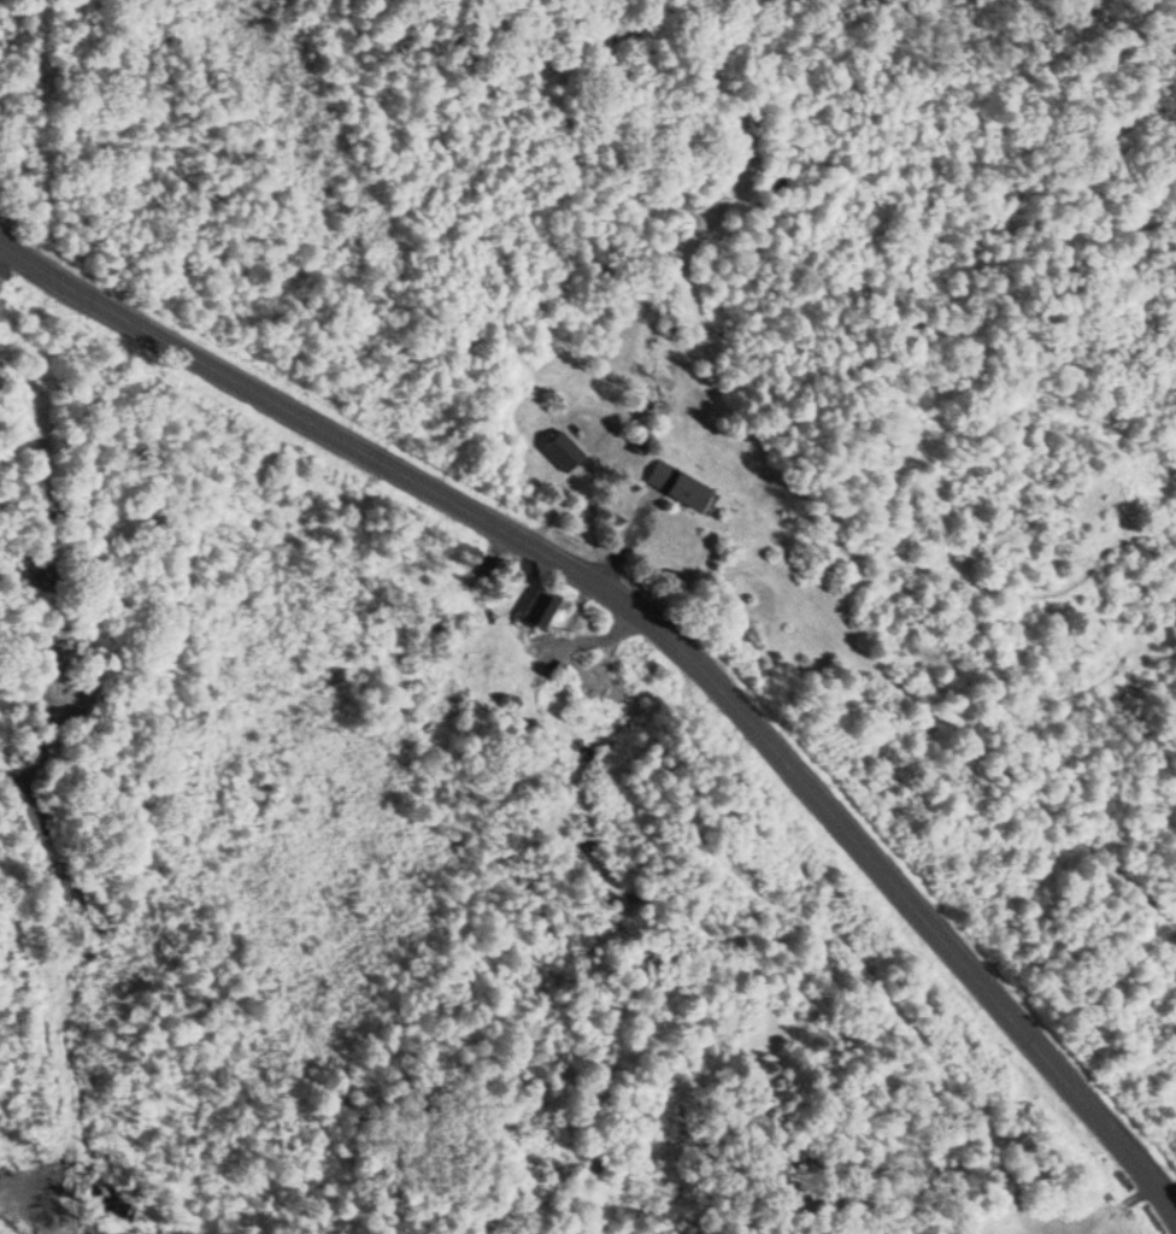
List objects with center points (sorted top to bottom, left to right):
building: (560, 452)
building: (677, 486)
building: (537, 609)
road: (664, 618)

